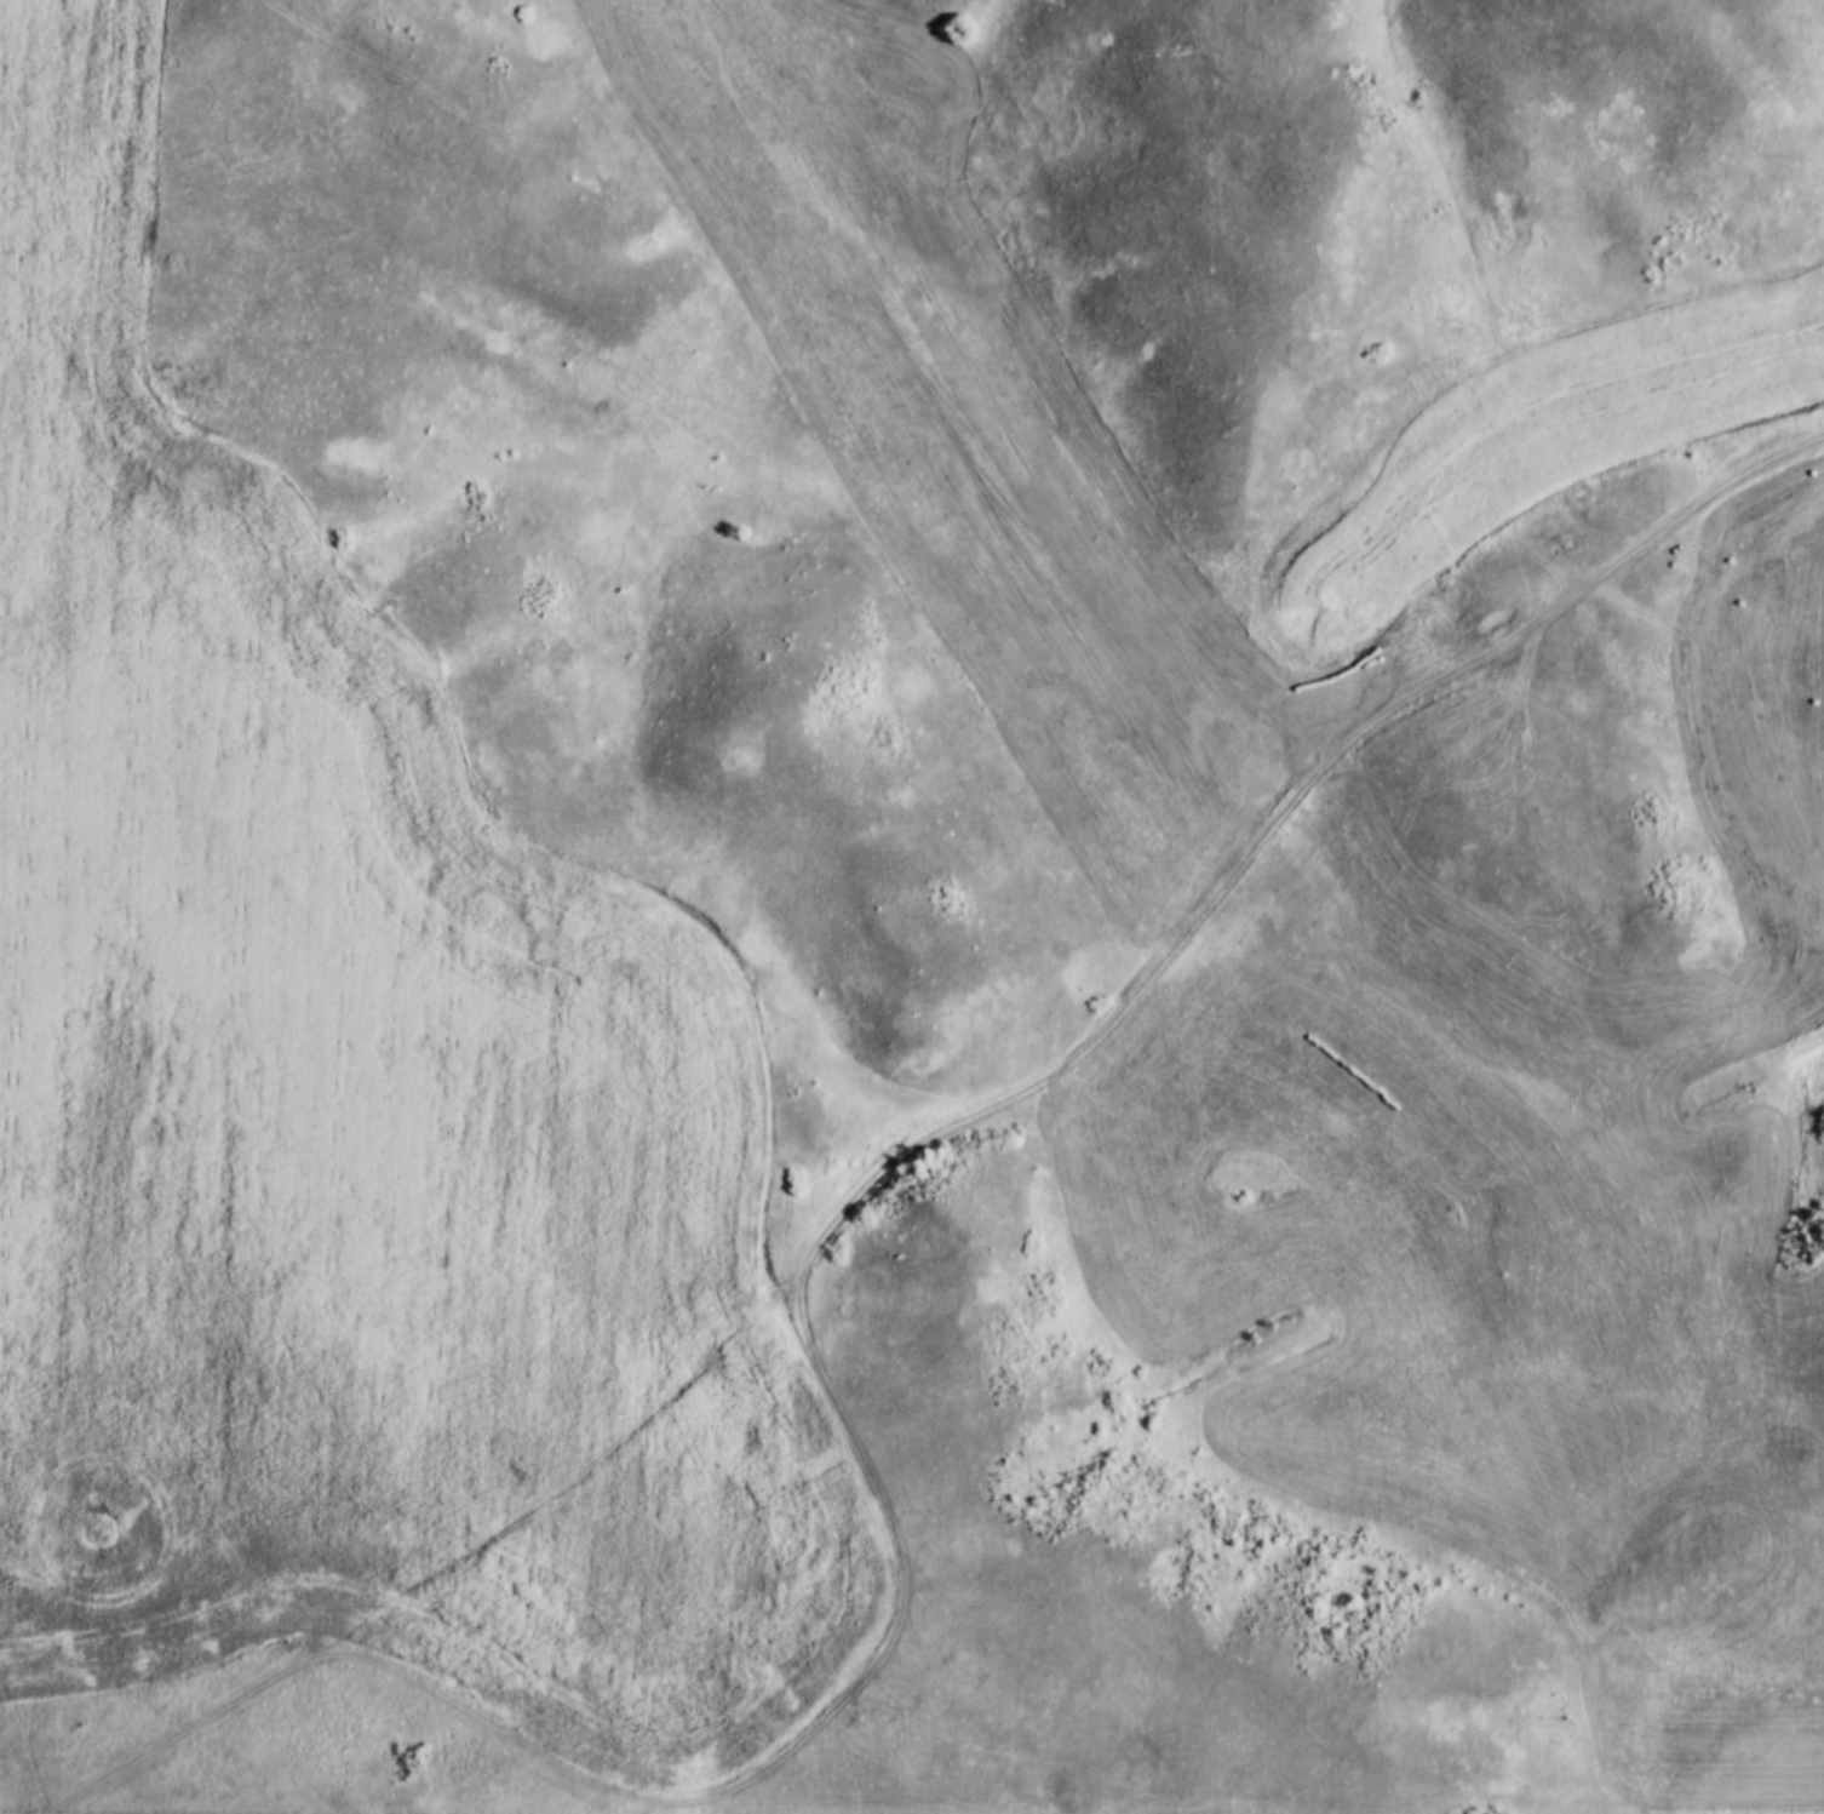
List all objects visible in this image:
road: (931, 1175)
road: (51, 1807)

